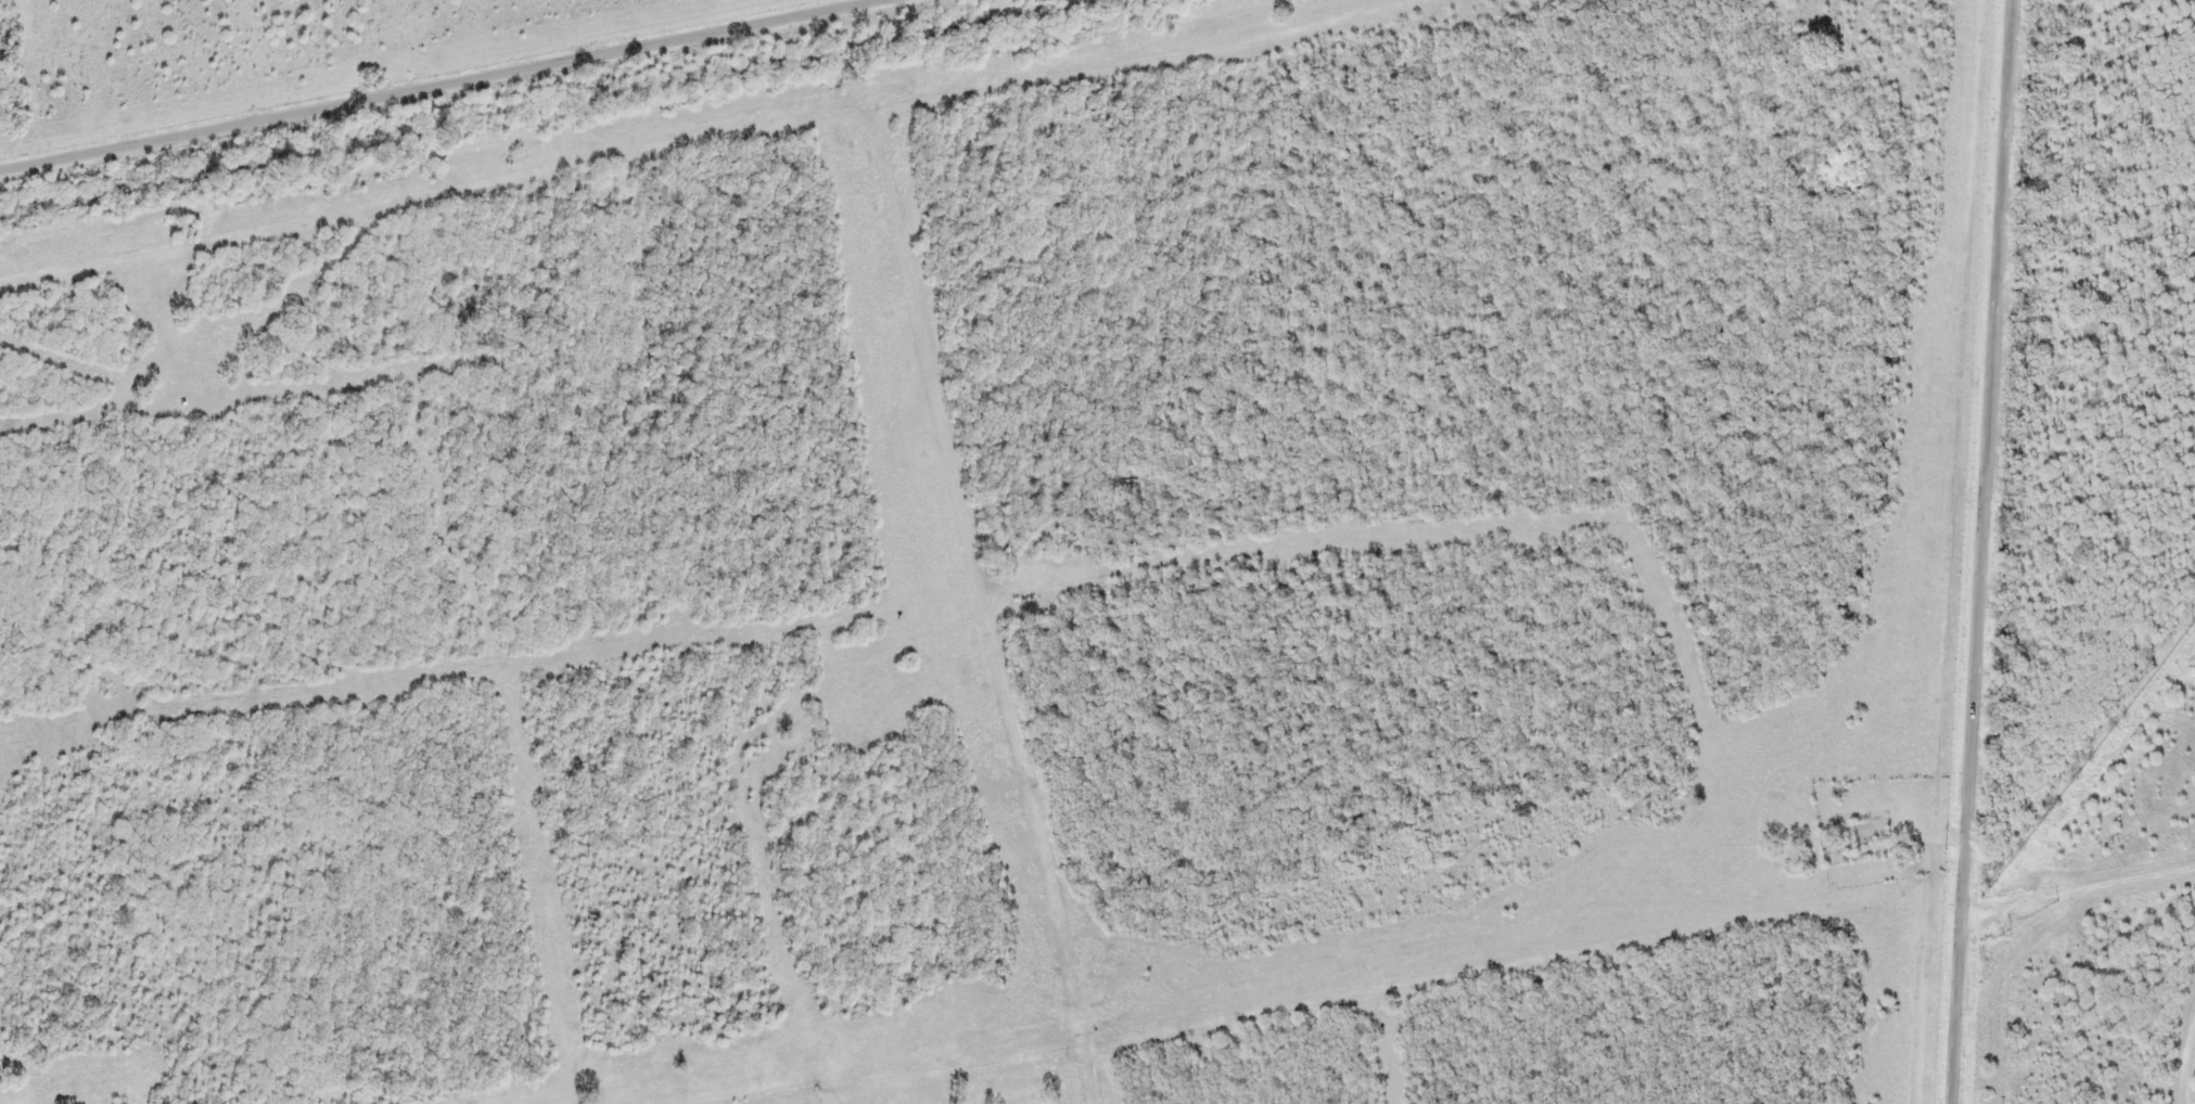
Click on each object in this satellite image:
road: (435, 84)
road: (1987, 551)

